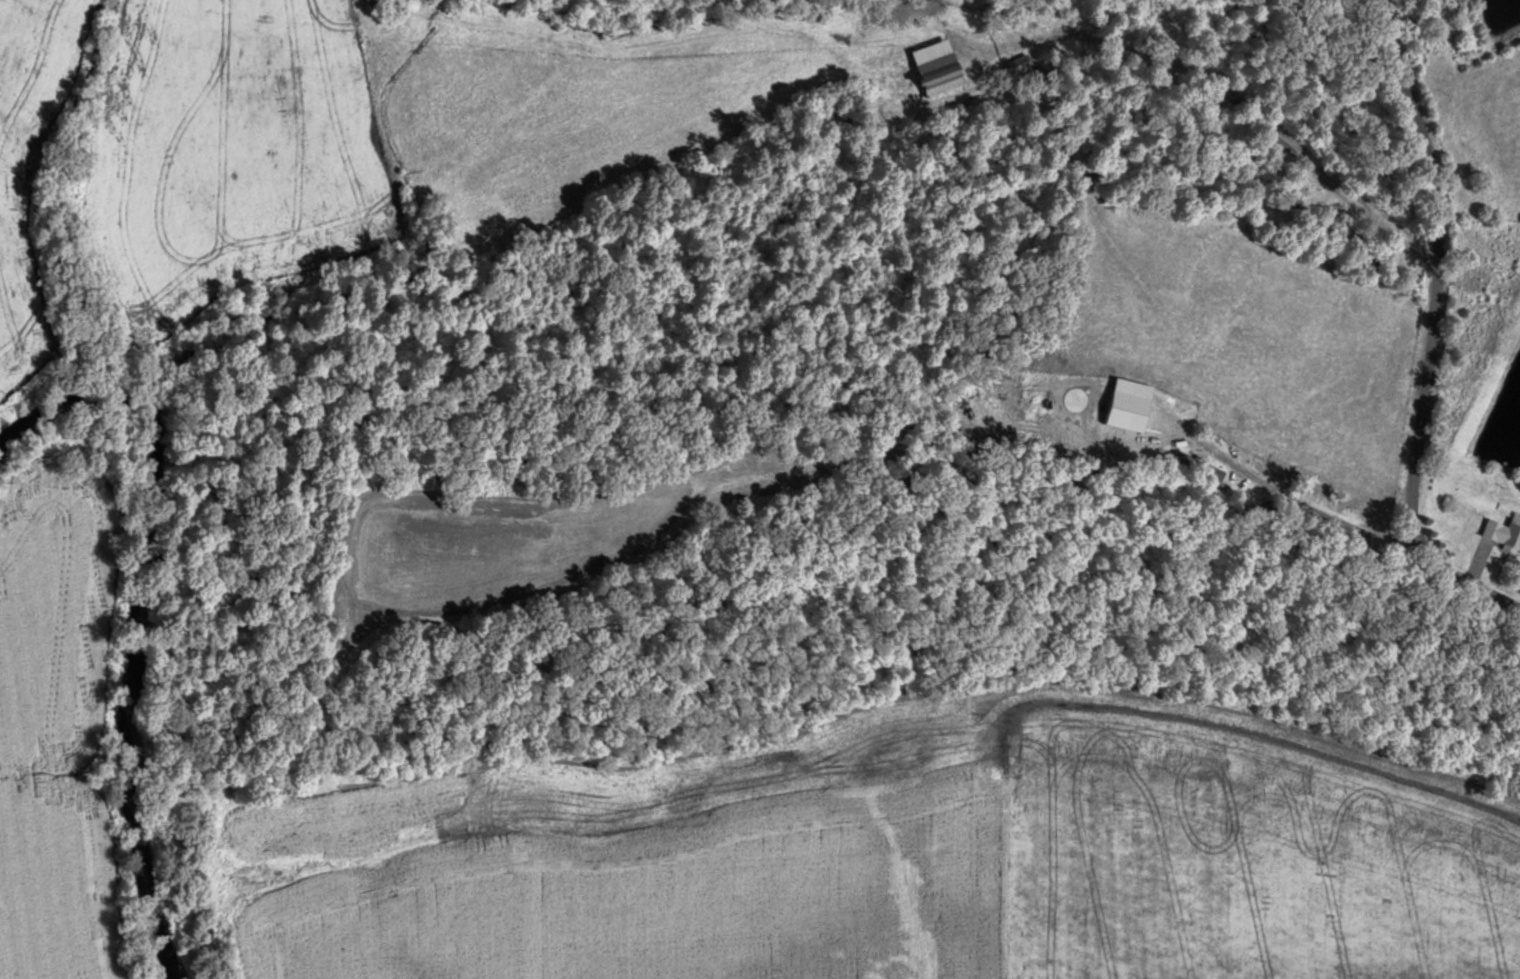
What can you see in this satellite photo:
building: (937, 74)
road: (1433, 330)
building: (1502, 533)

